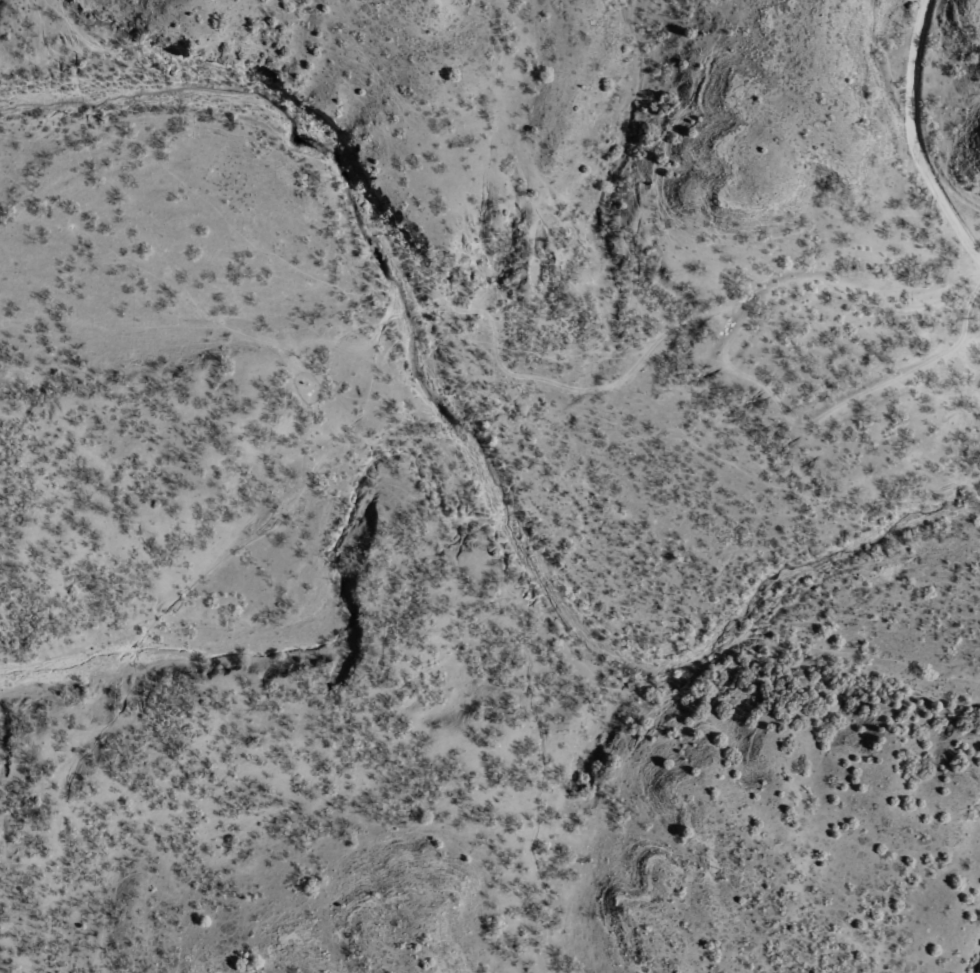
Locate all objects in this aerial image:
road: (912, 137)

